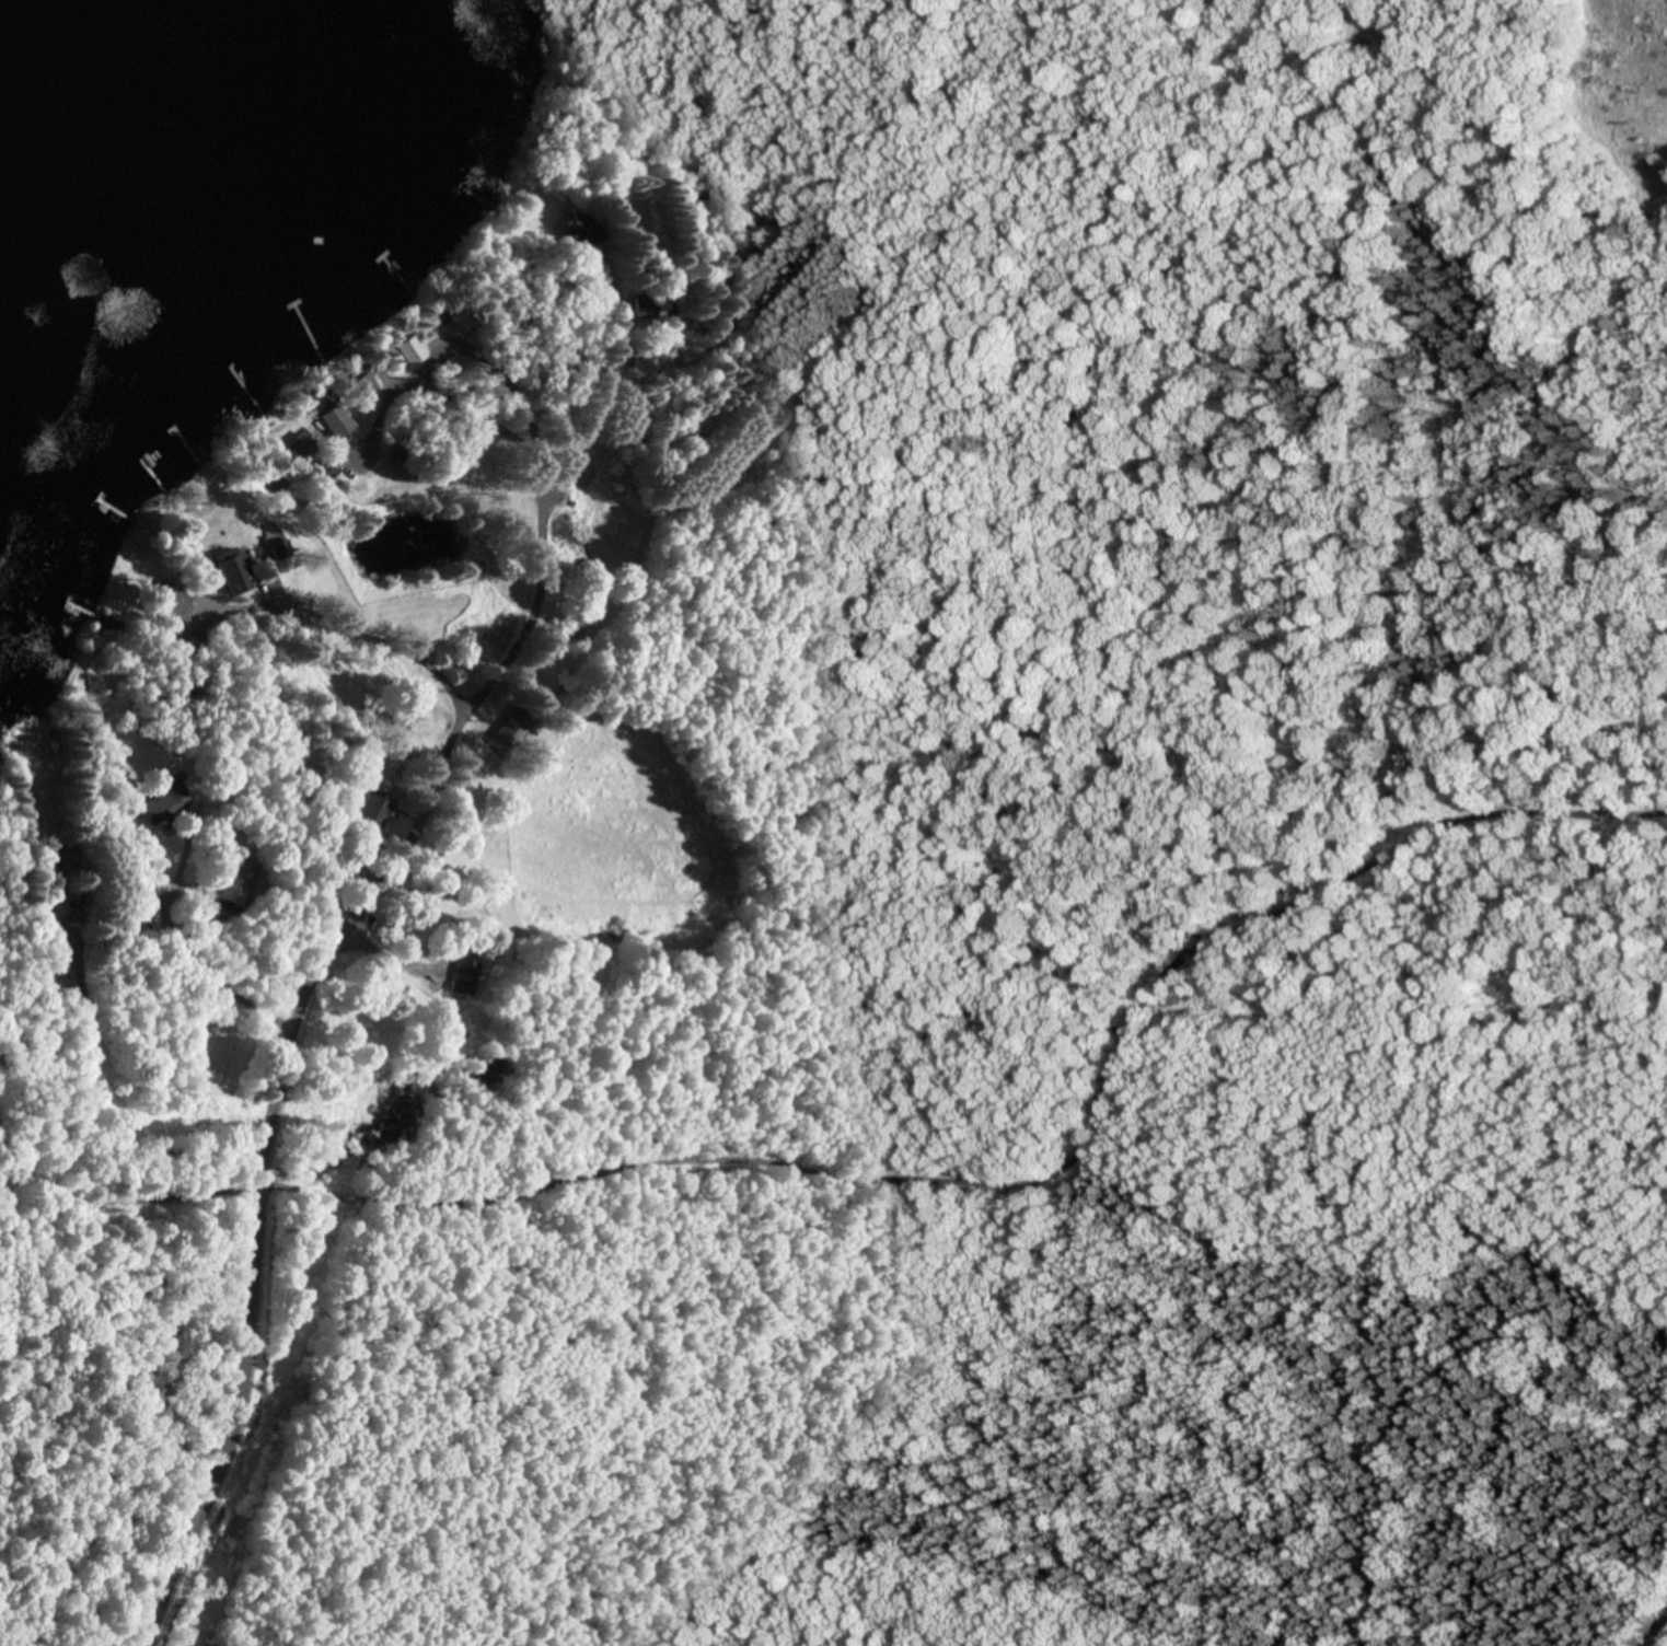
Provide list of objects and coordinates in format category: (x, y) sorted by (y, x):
building: (346, 428)
building: (240, 576)
building: (375, 811)
road: (350, 912)

